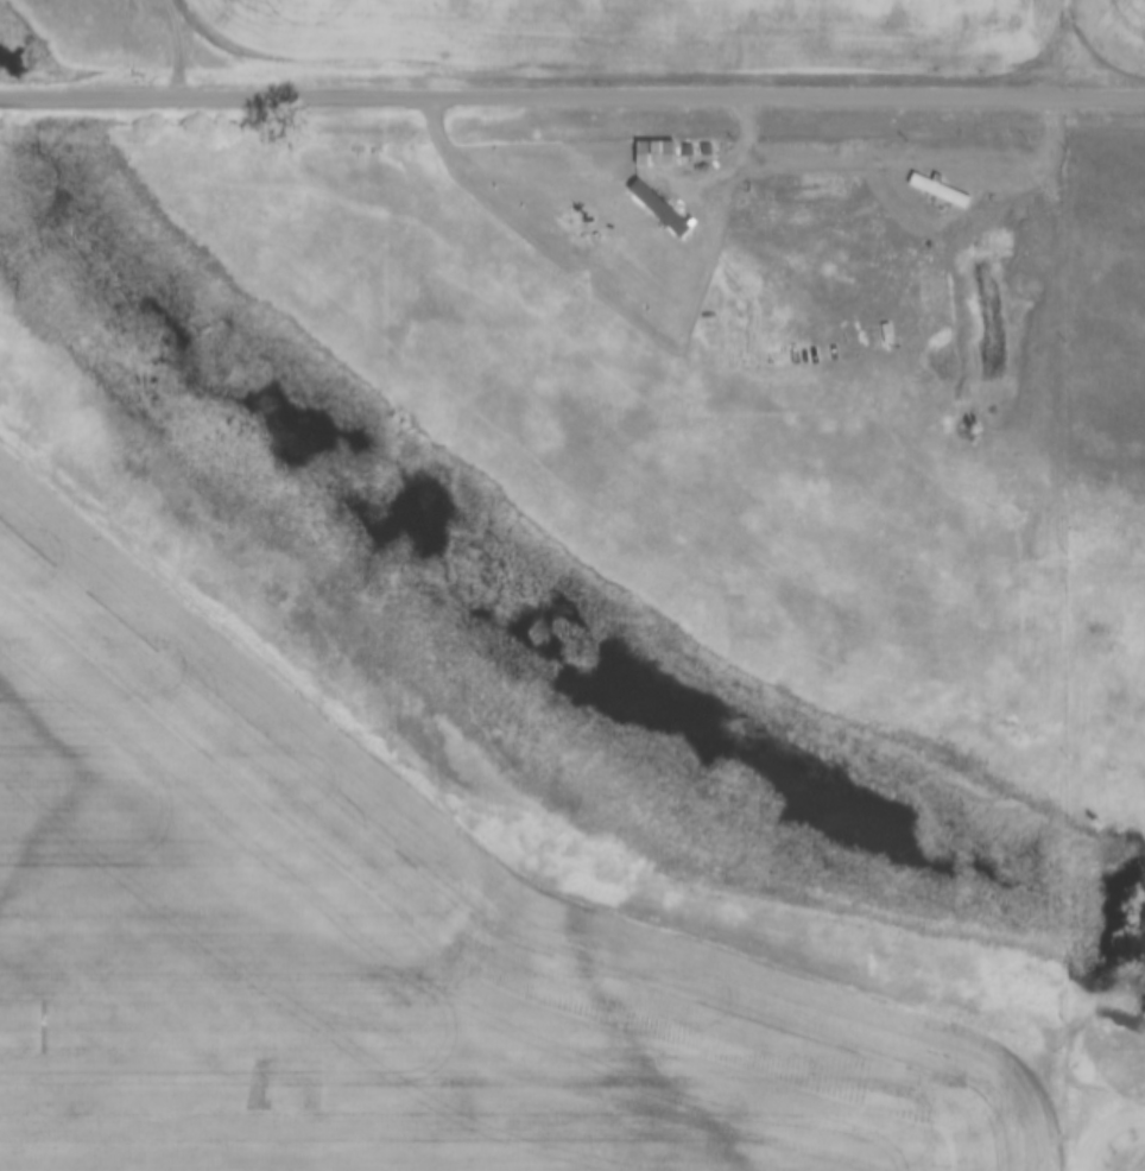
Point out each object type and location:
road: (572, 93)

